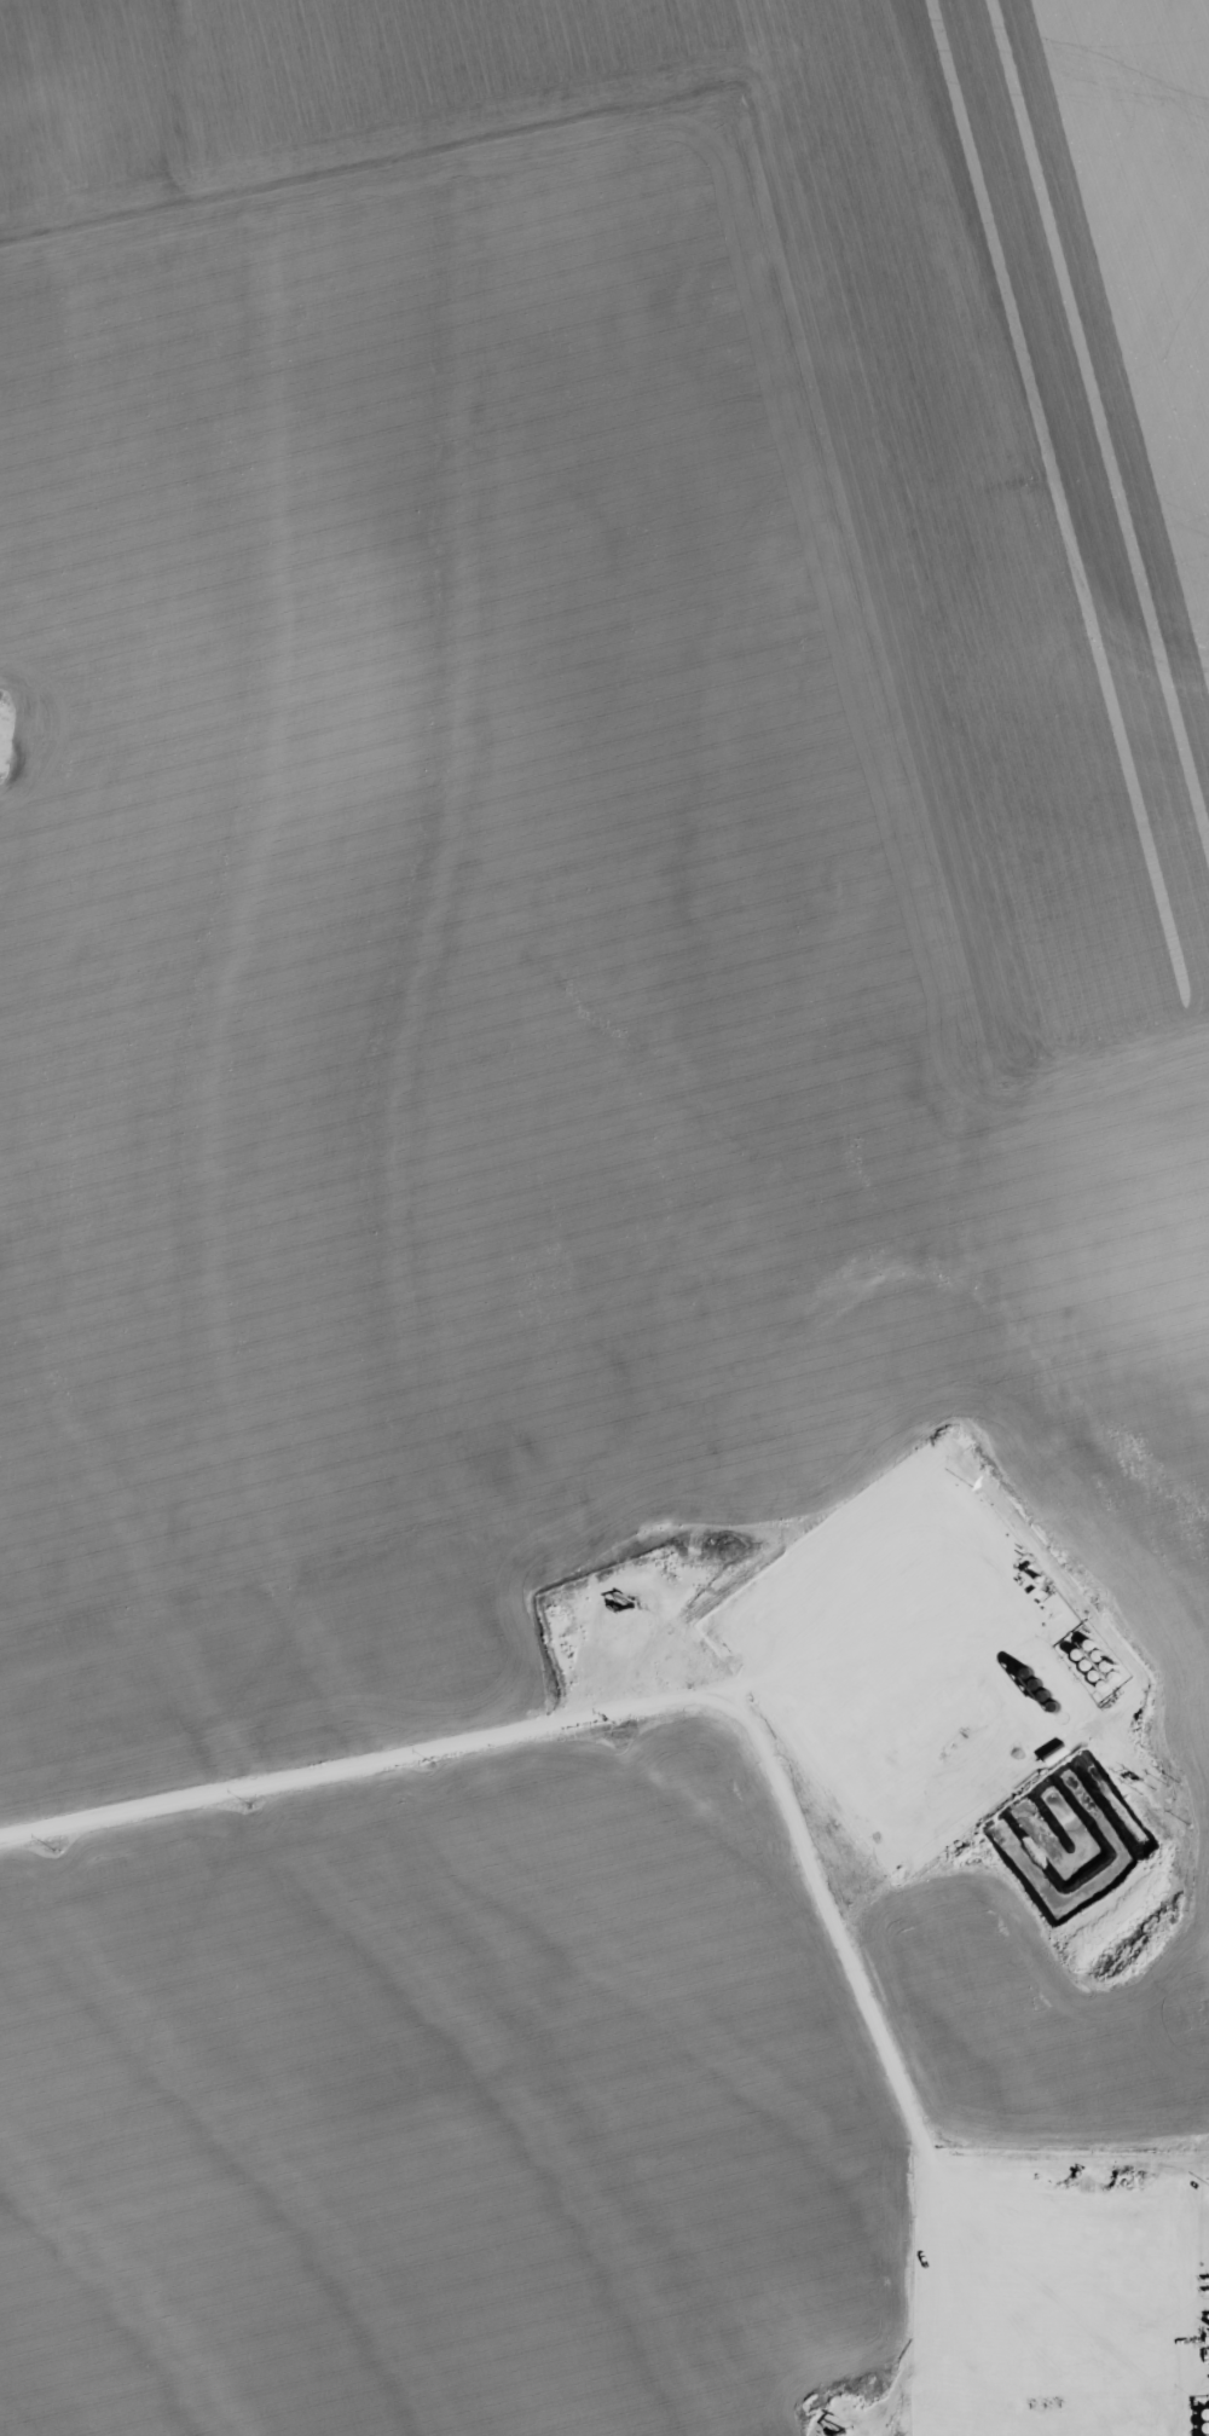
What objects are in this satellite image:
road: (517, 1734)

